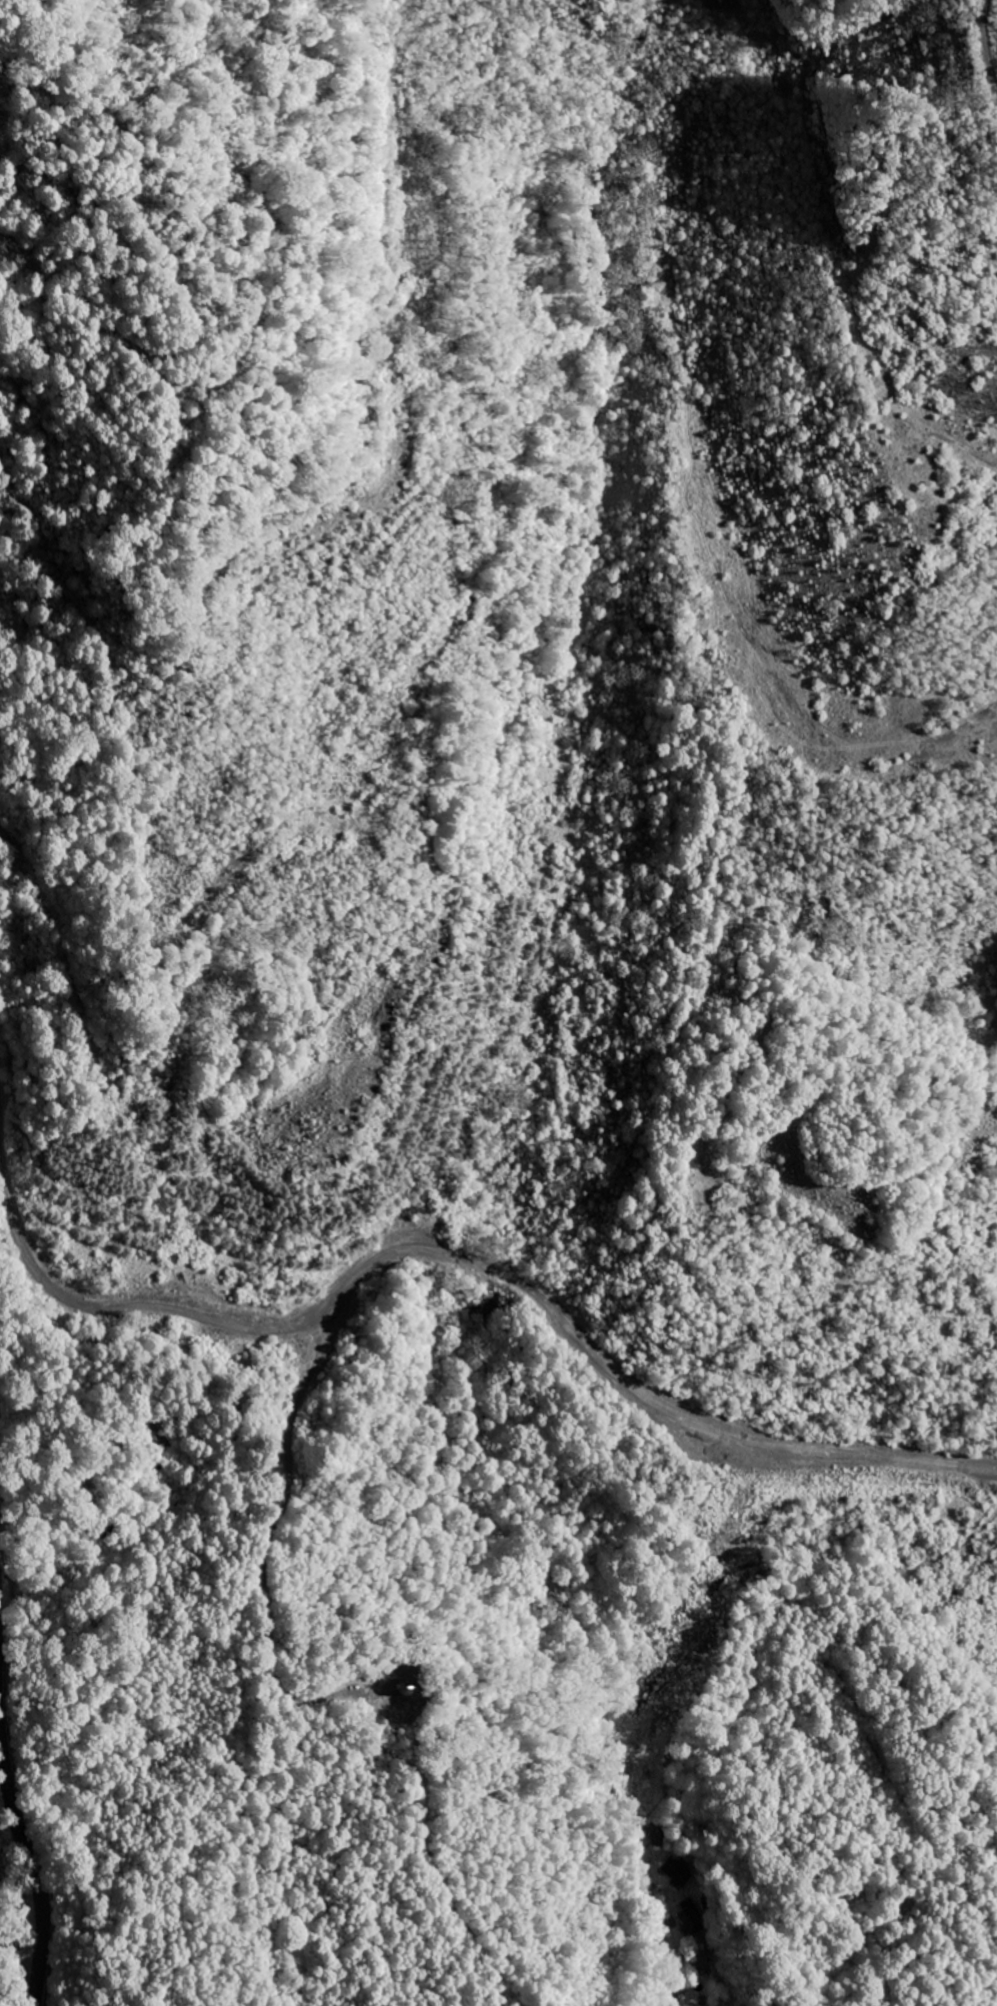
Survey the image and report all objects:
road: (819, 254)
road: (377, 492)
road: (106, 1071)
road: (477, 1262)
road: (241, 1625)
building: (396, 1685)
road: (336, 1694)
road: (392, 1751)
building: (656, 1833)
road: (29, 1855)
building: (676, 1869)
building: (690, 1916)
road: (378, 1919)
road: (660, 1926)
building: (696, 1960)

